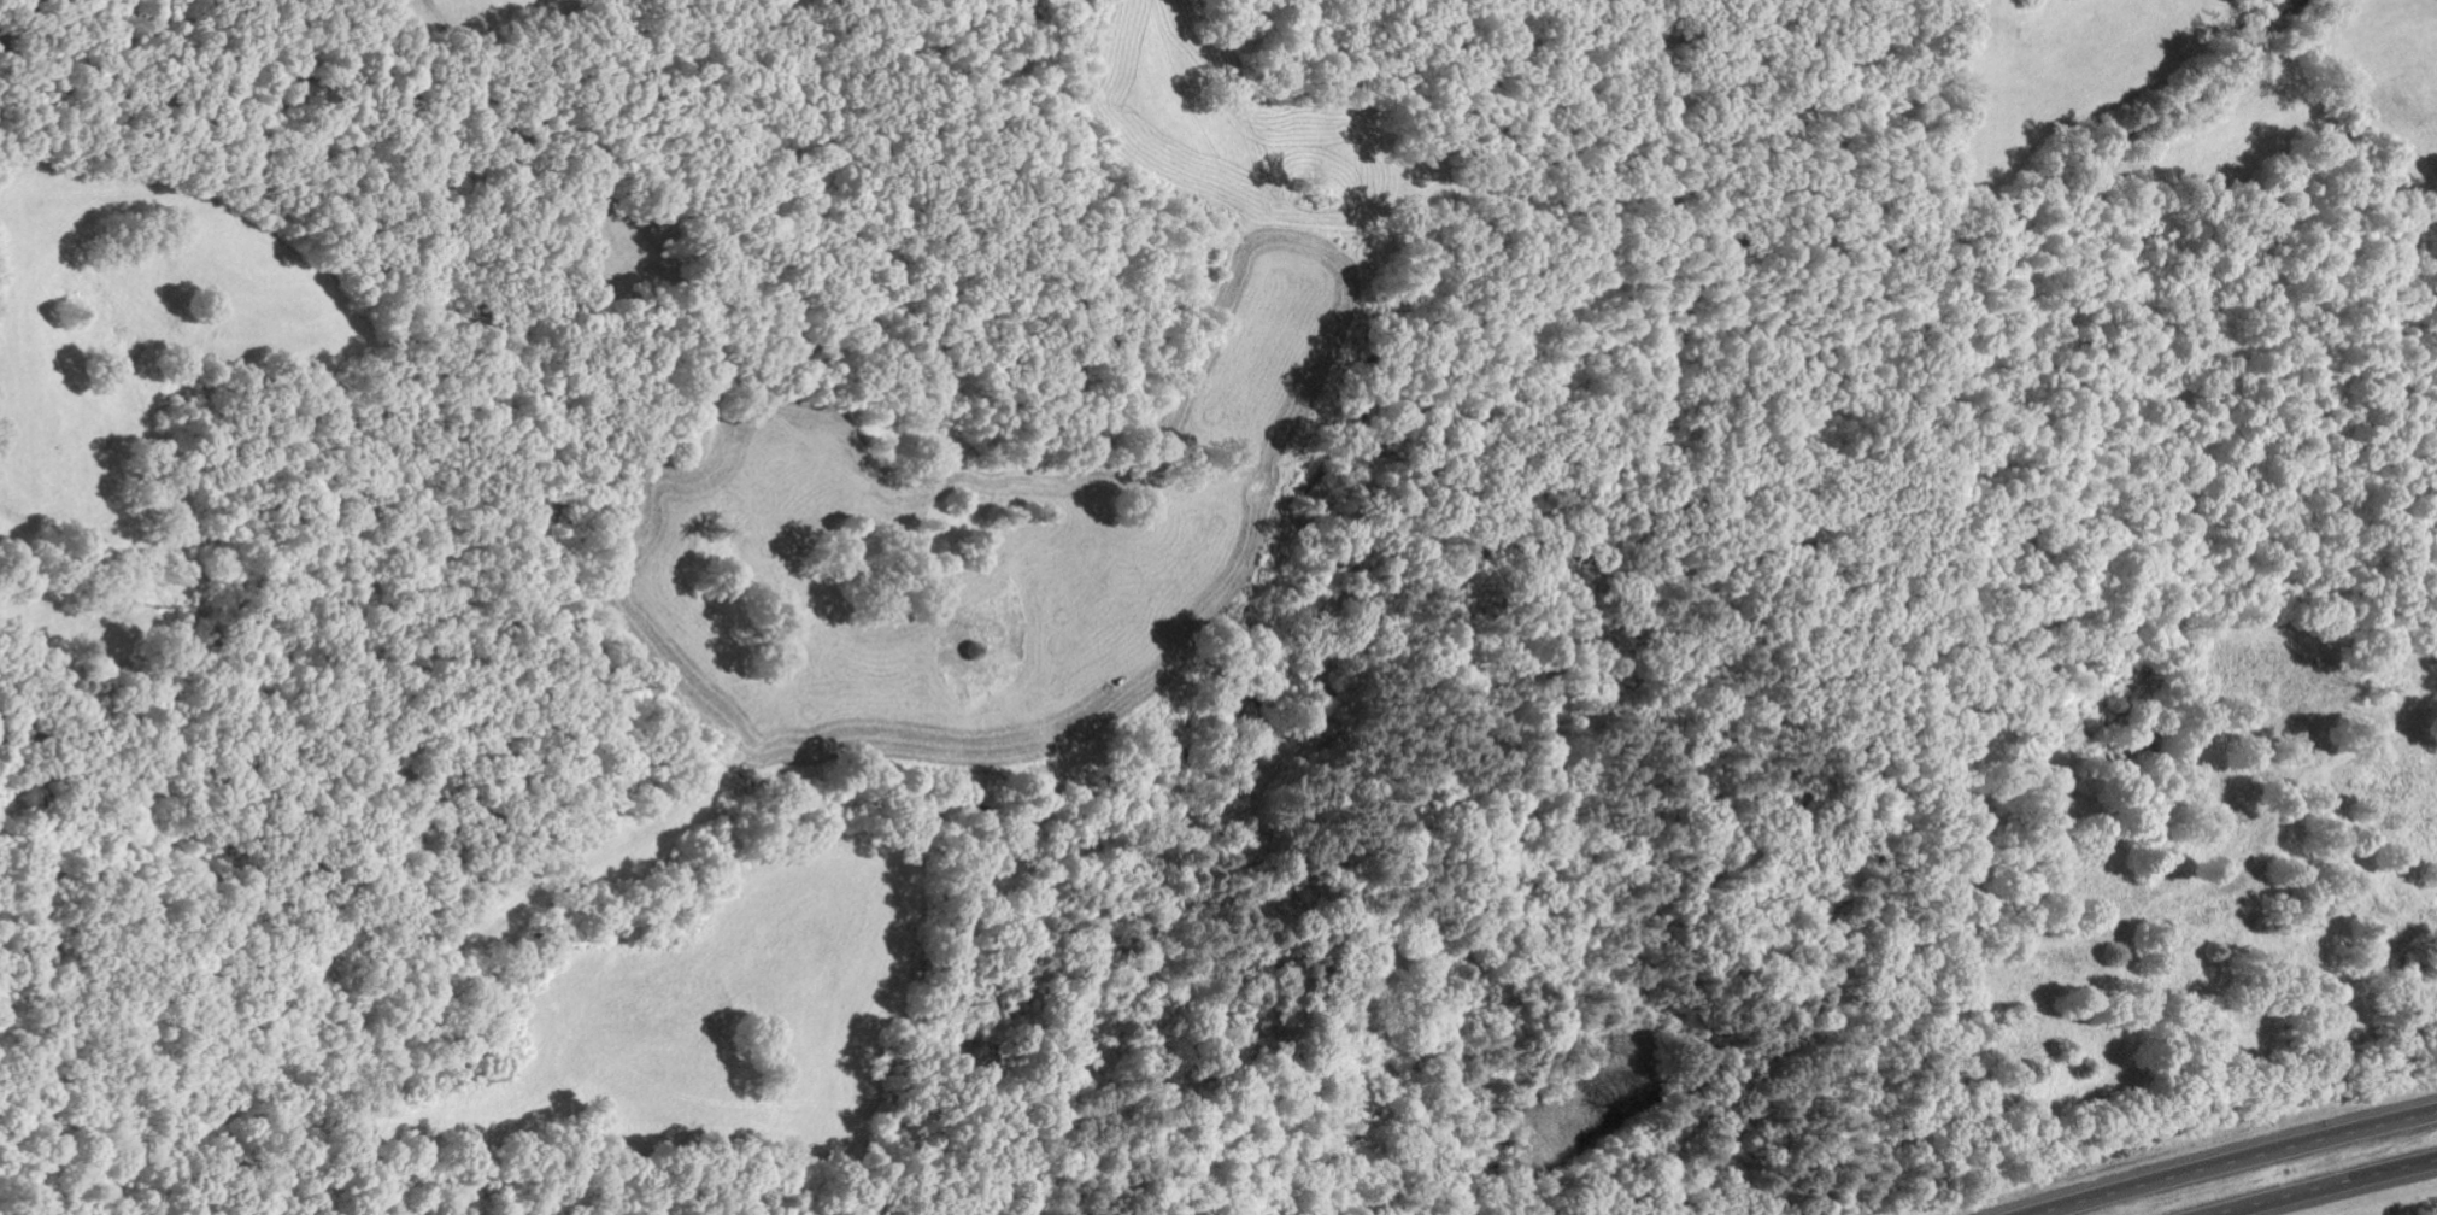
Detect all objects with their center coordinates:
road: (2222, 1157)
road: (2330, 1188)

